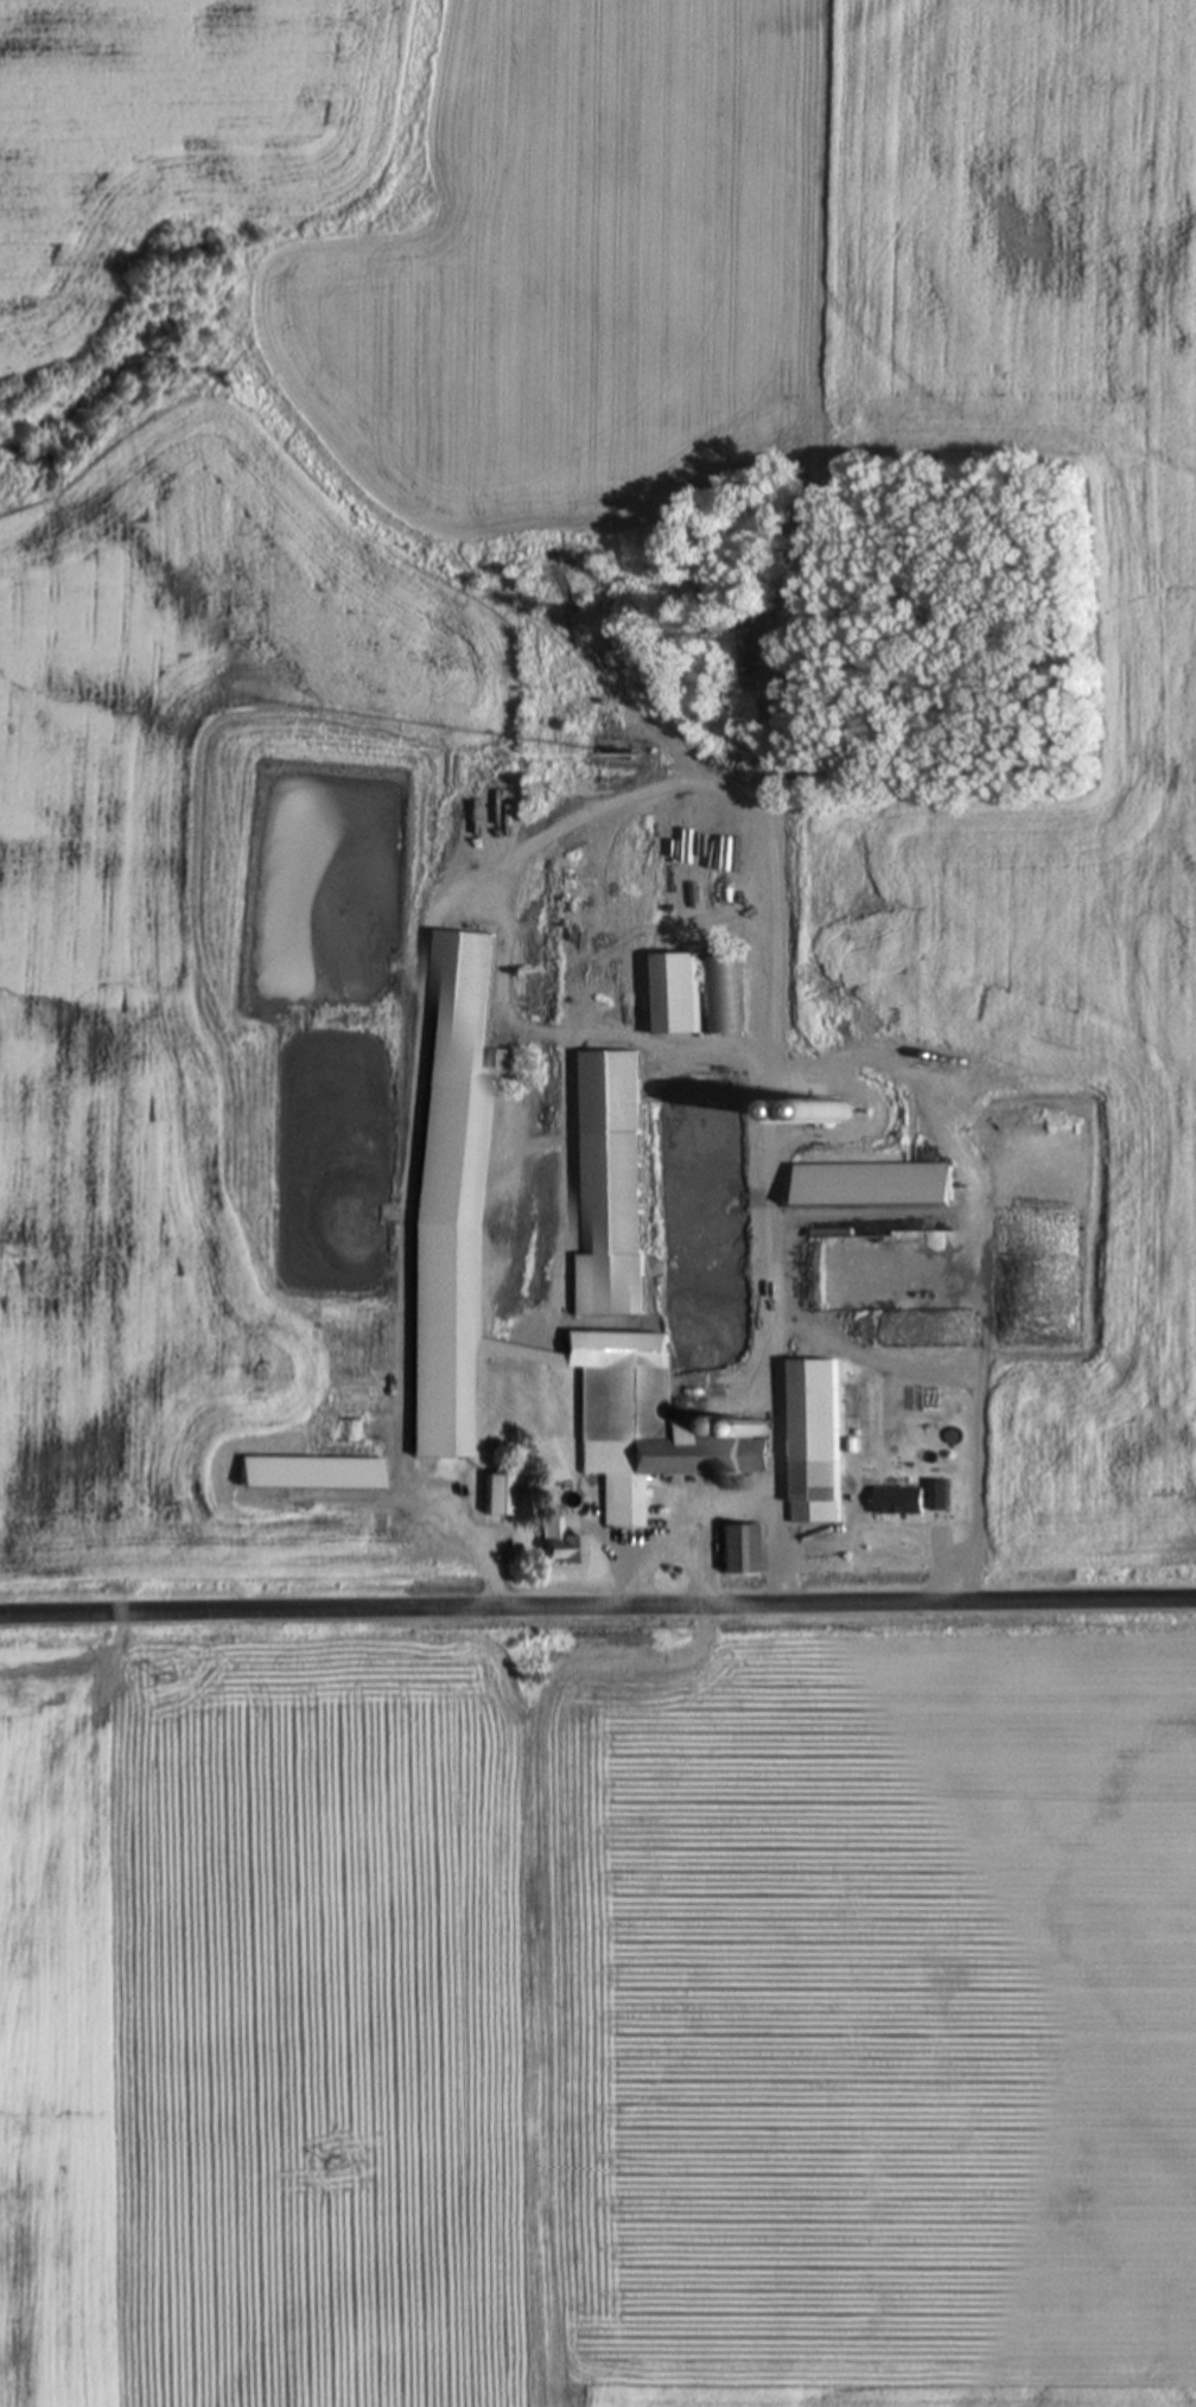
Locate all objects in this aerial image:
building: (696, 996)
building: (472, 1006)
road: (419, 1082)
road: (774, 1104)
building: (833, 1116)
building: (879, 1186)
building: (616, 1192)
power tower: (23, 1253)
building: (699, 1433)
building: (317, 1476)
building: (501, 1497)
building: (943, 1497)
building: (904, 1503)
building: (564, 1546)
building: (744, 1552)
road: (937, 1555)
road: (598, 1606)
road: (705, 1631)
power tower: (173, 1677)
power tower: (345, 2158)

